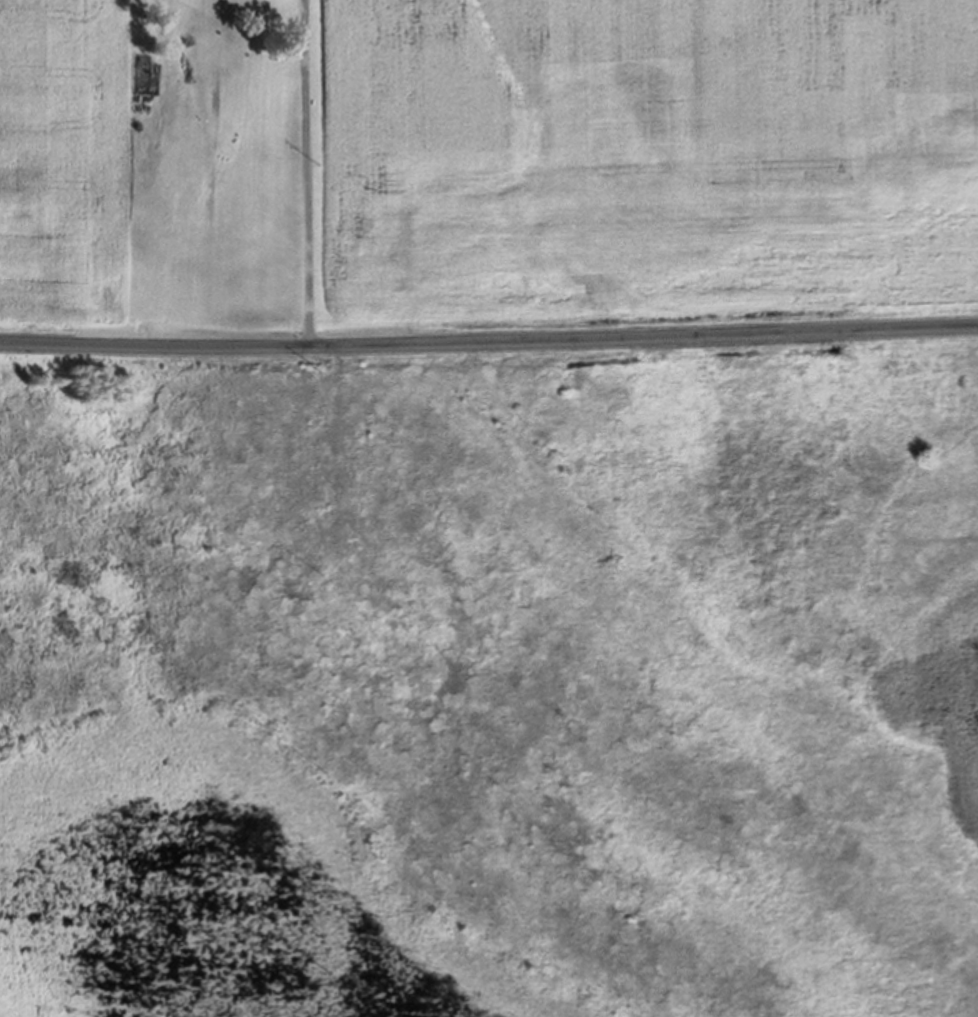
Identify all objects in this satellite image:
road: (303, 173)
road: (489, 342)

